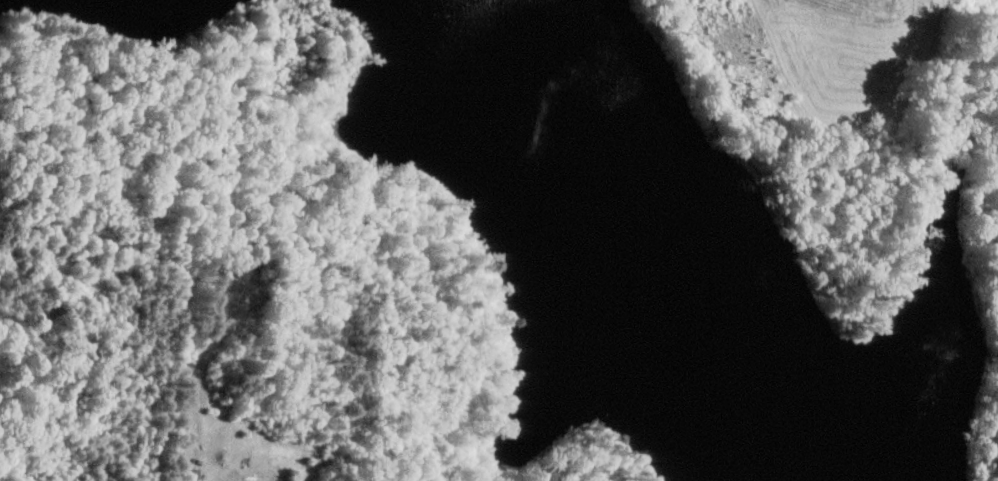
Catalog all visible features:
river: (445, 13)
river: (649, 229)

